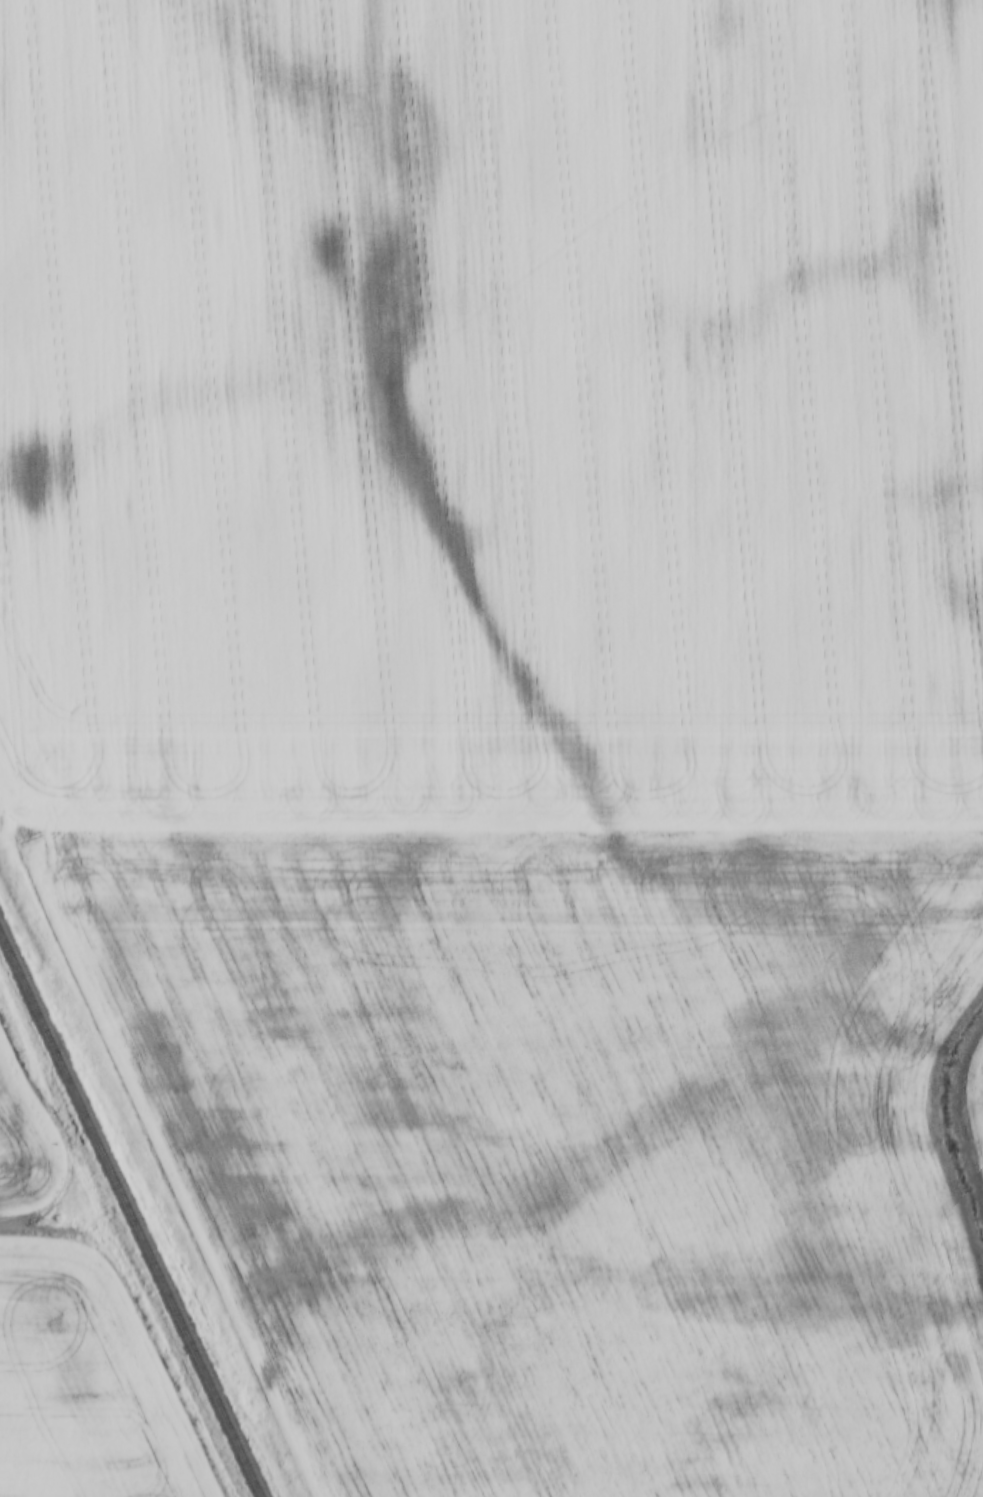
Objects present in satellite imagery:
railway: (132, 1211)

